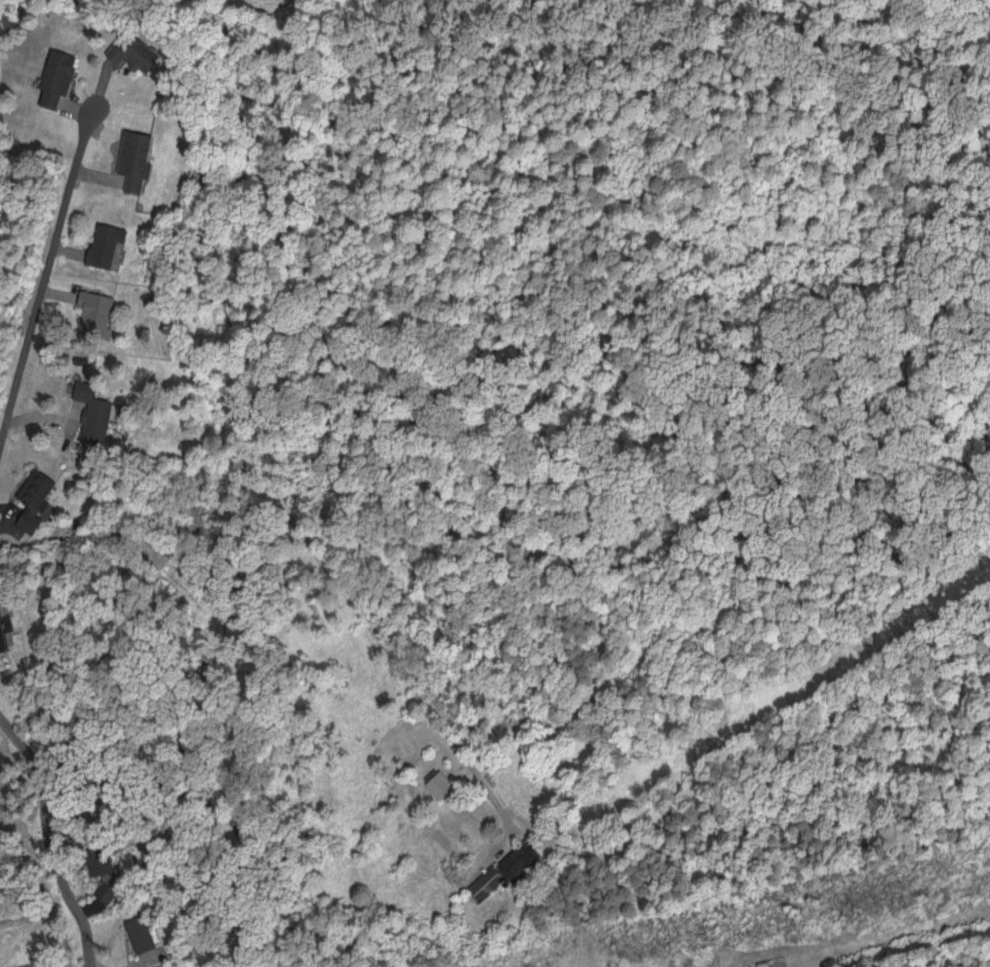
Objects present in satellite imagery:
building: (135, 50)
building: (57, 78)
building: (137, 158)
building: (107, 243)
road: (45, 269)
building: (96, 312)
building: (94, 411)
road: (478, 446)
building: (36, 498)
building: (4, 631)
building: (443, 784)
road: (48, 837)
building: (525, 862)
building: (99, 863)
building: (487, 882)
building: (107, 890)
building: (136, 929)
building: (45, 966)

